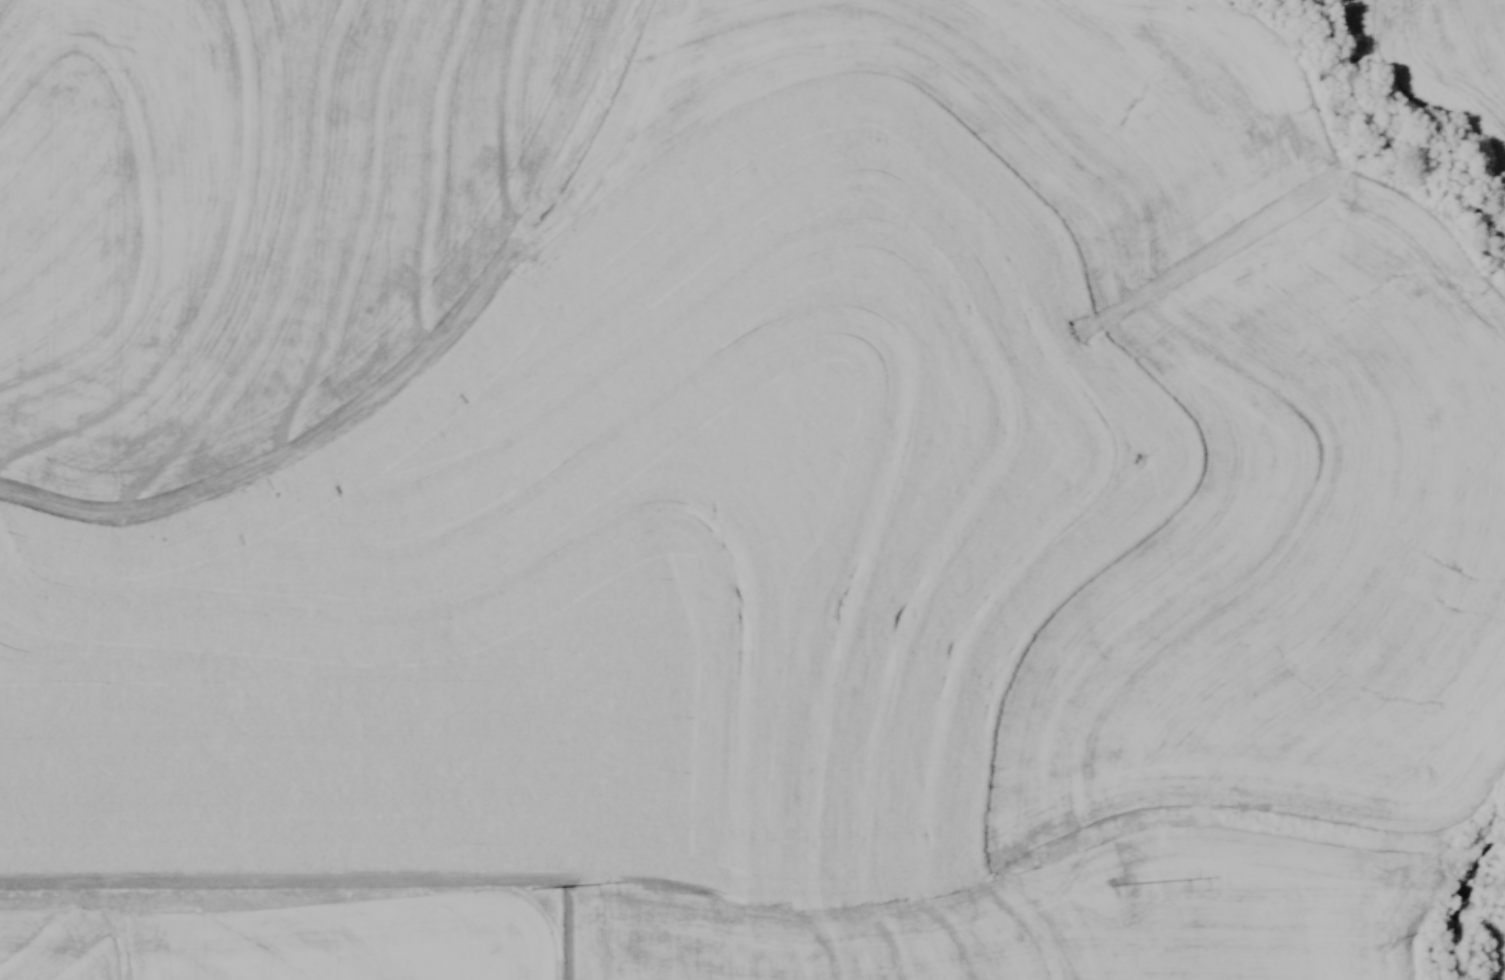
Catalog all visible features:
power tower: (1115, 884)
power tower: (531, 889)

